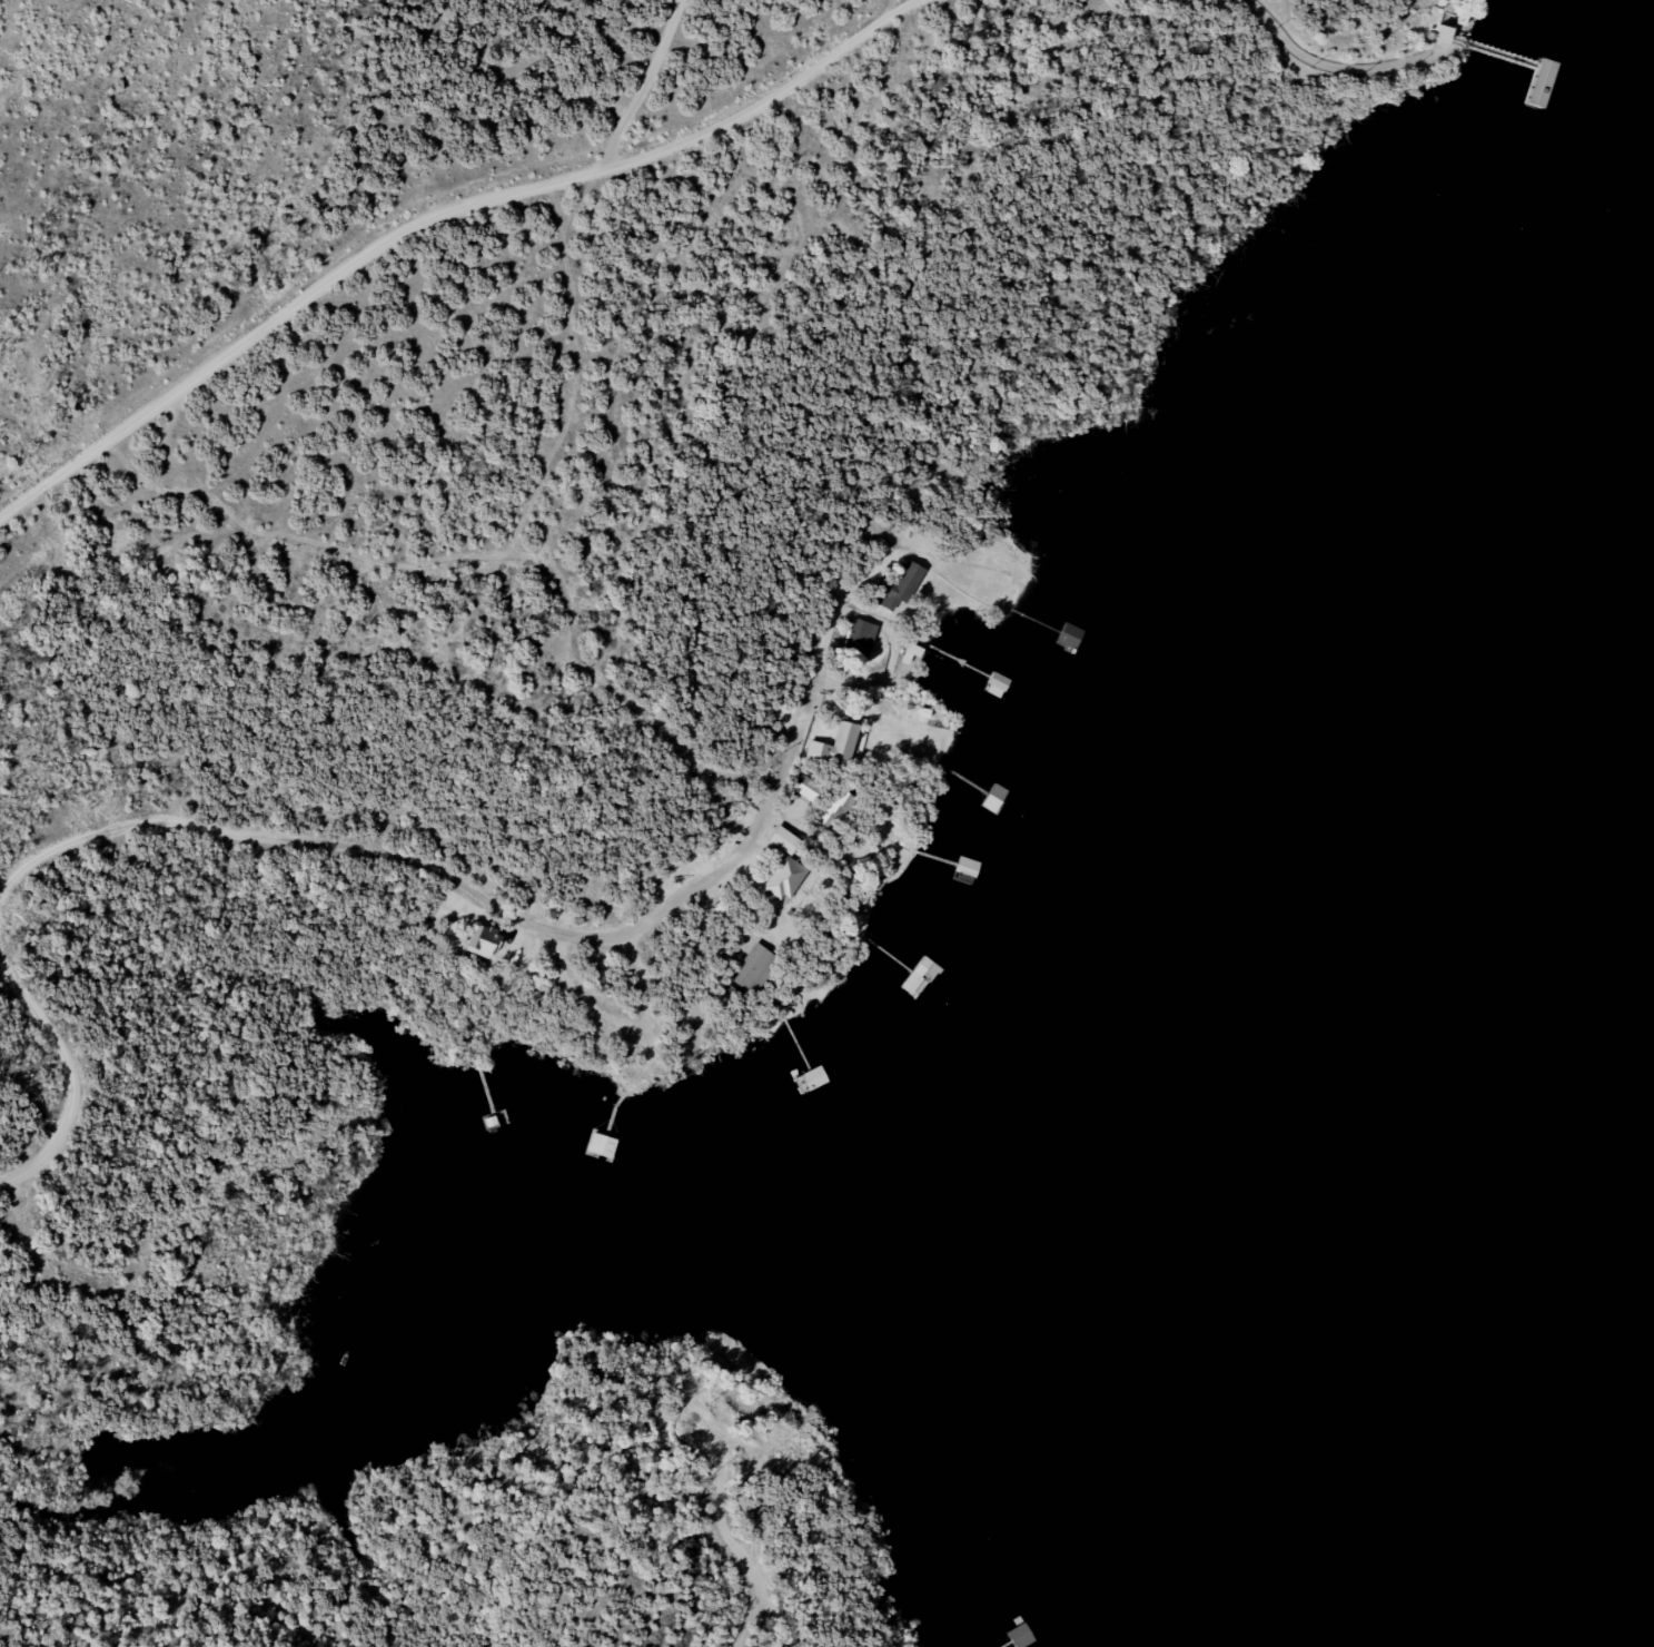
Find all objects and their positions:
road: (1353, 46)
park: (51, 68)
building: (1536, 86)
road: (764, 99)
road: (445, 208)
road: (78, 461)
road: (317, 538)
building: (898, 589)
building: (1059, 634)
building: (858, 641)
building: (911, 657)
building: (834, 747)
building: (903, 757)
building: (808, 790)
building: (990, 799)
building: (836, 811)
road: (235, 820)
building: (783, 869)
building: (962, 869)
building: (447, 905)
building: (482, 940)
building: (753, 970)
building: (622, 1044)
building: (812, 1082)
building: (620, 1138)
building: (682, 1434)
road: (805, 1529)
road: (733, 1538)
building: (1018, 1638)

